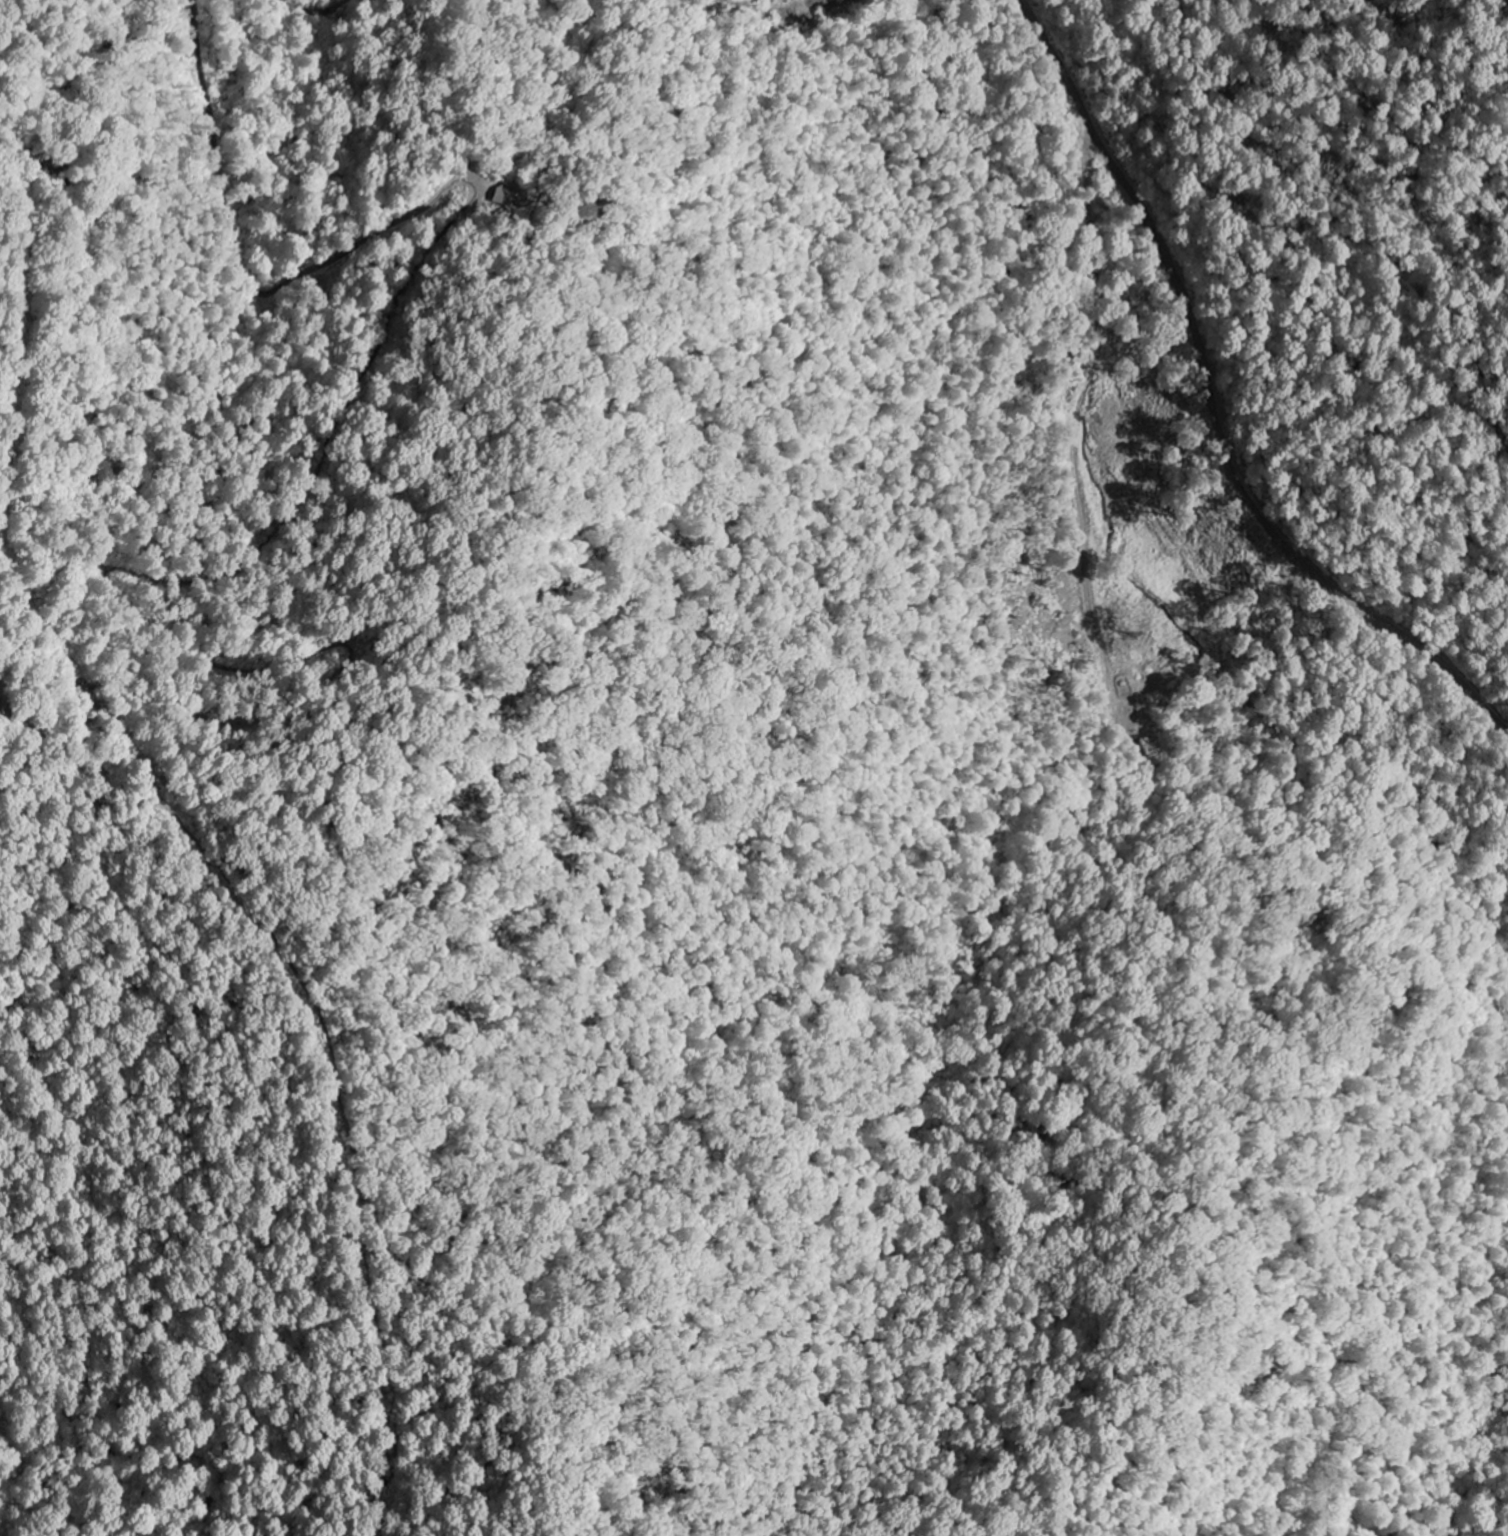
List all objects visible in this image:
road: (1218, 401)

